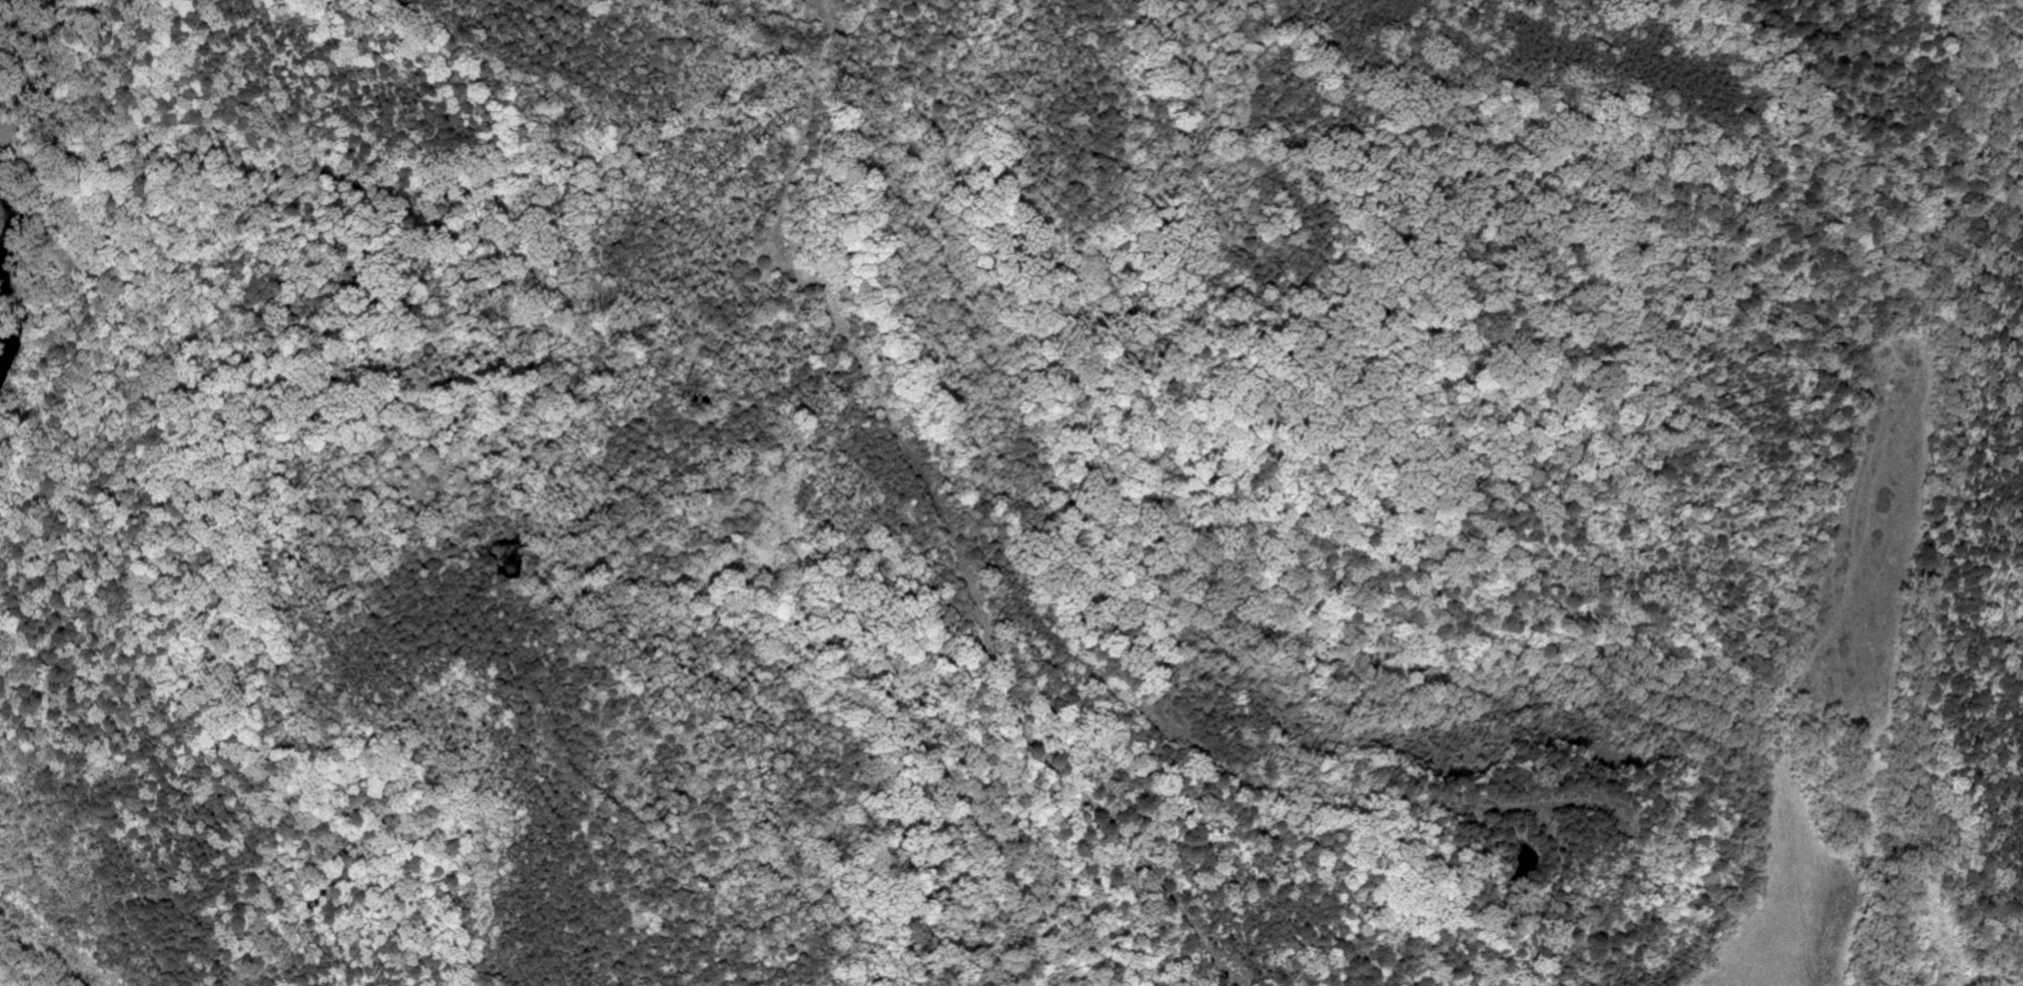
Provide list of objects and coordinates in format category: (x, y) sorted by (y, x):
road: (39, 950)

